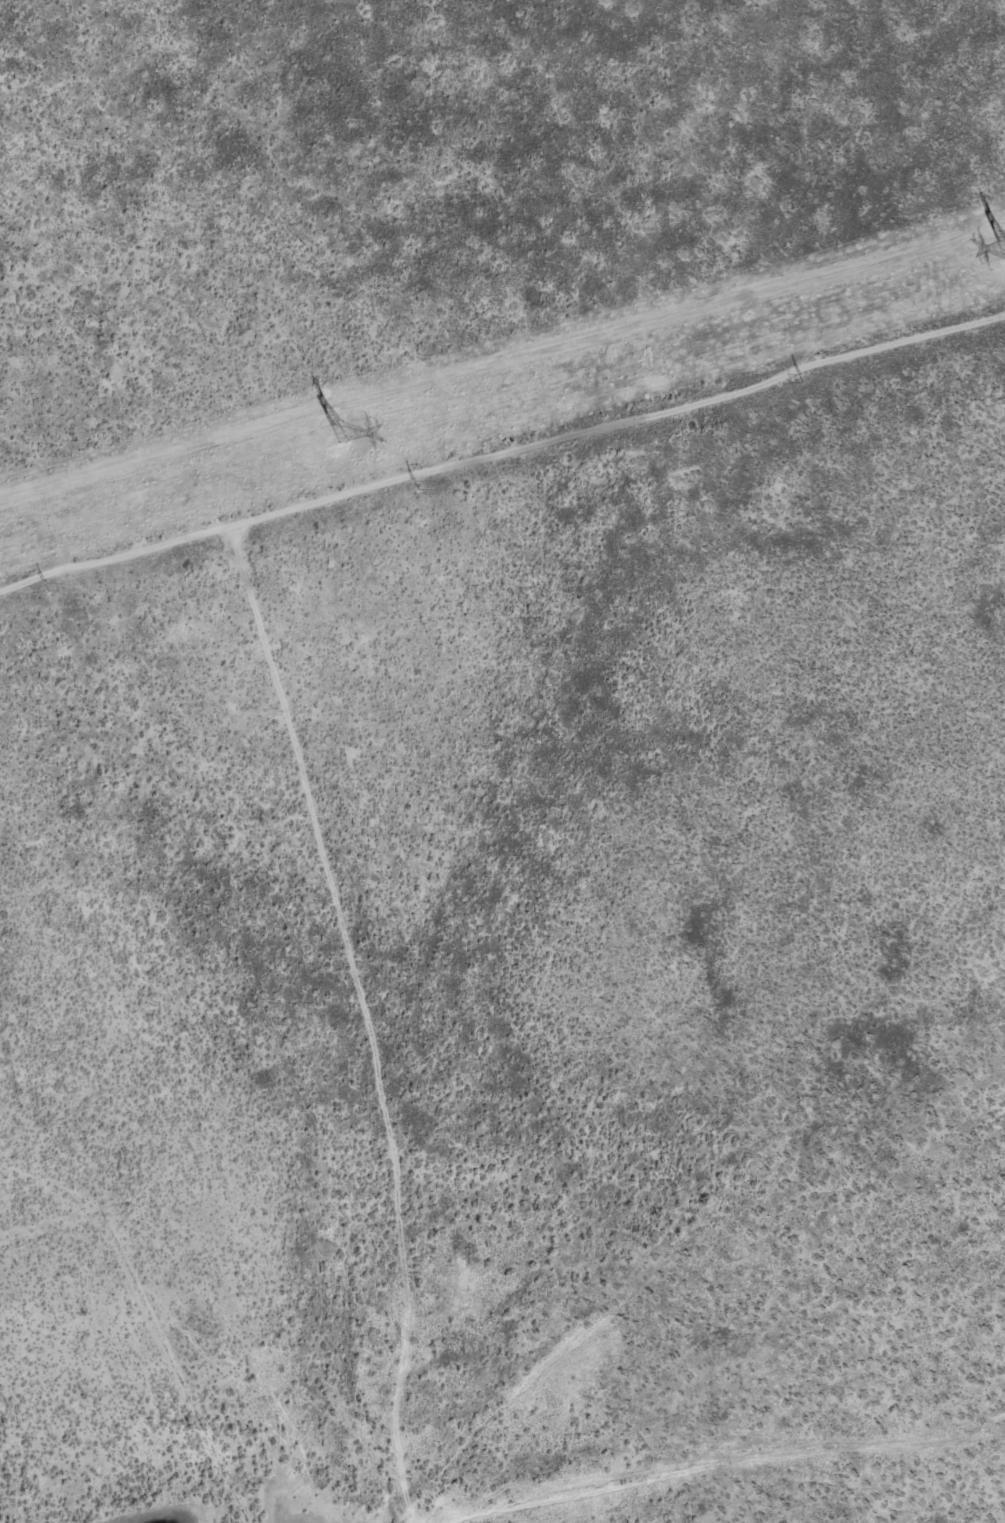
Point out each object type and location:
power tower: (1004, 248)
power tower: (799, 380)
power tower: (335, 433)
power tower: (415, 486)
power tower: (46, 587)

